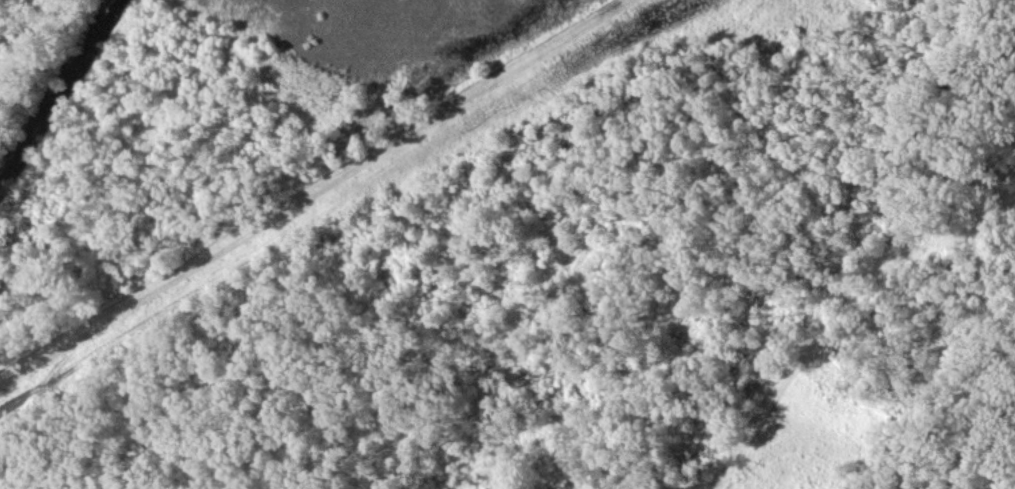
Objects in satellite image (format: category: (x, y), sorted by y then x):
road: (811, 294)

